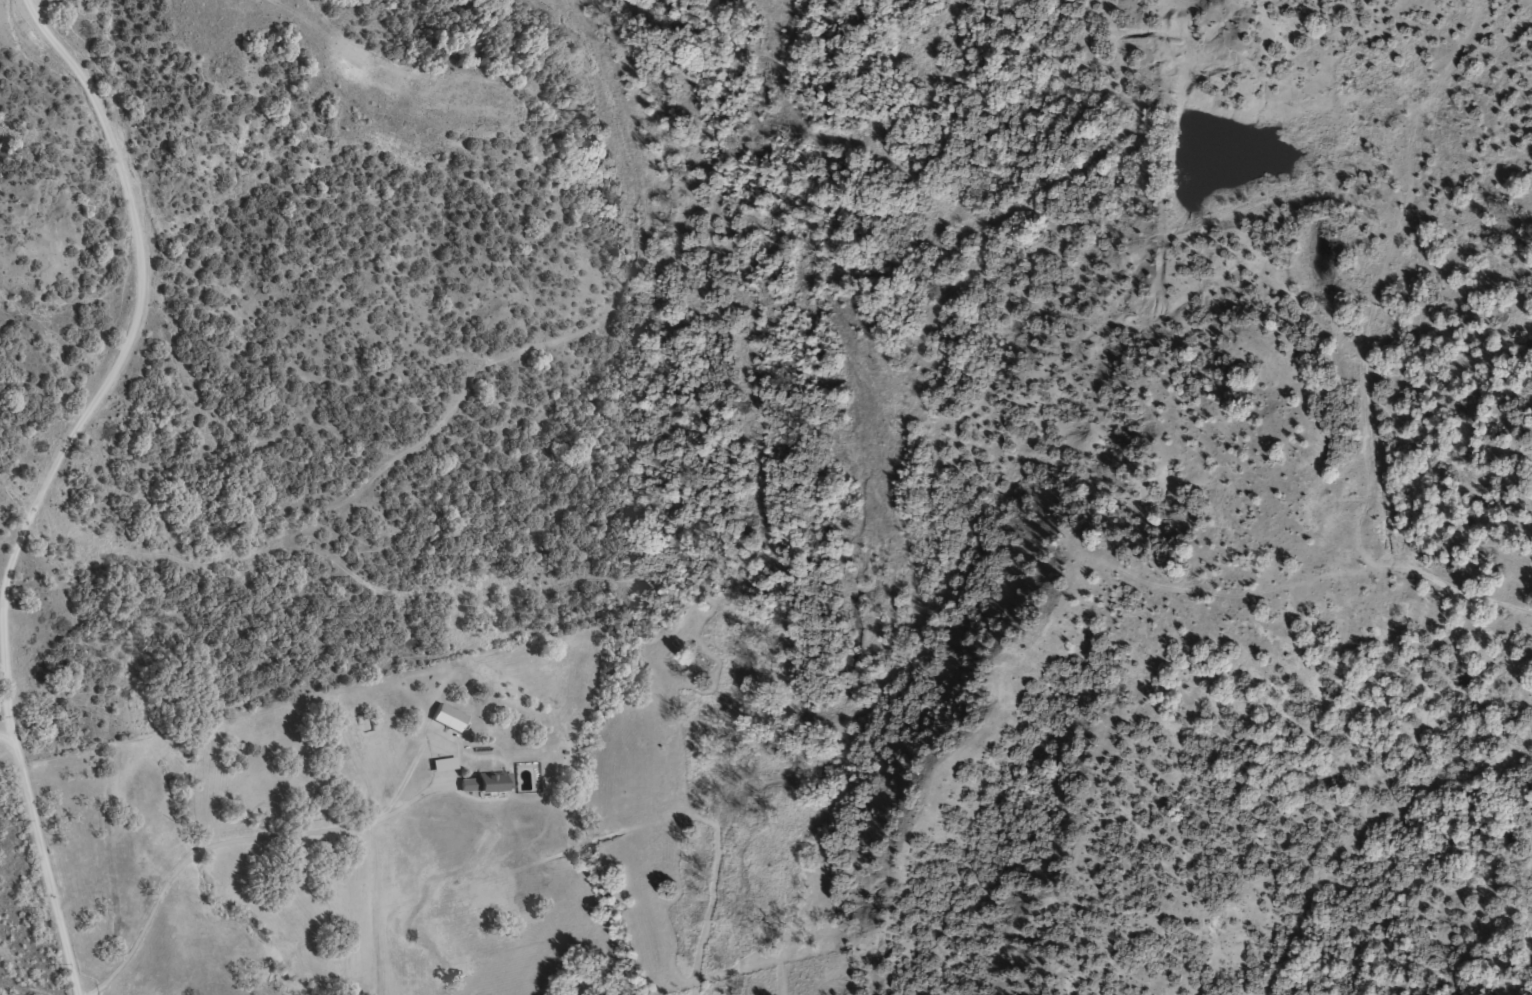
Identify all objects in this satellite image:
road: (58, 488)
building: (449, 725)
road: (6, 745)
building: (487, 790)
road: (241, 847)

